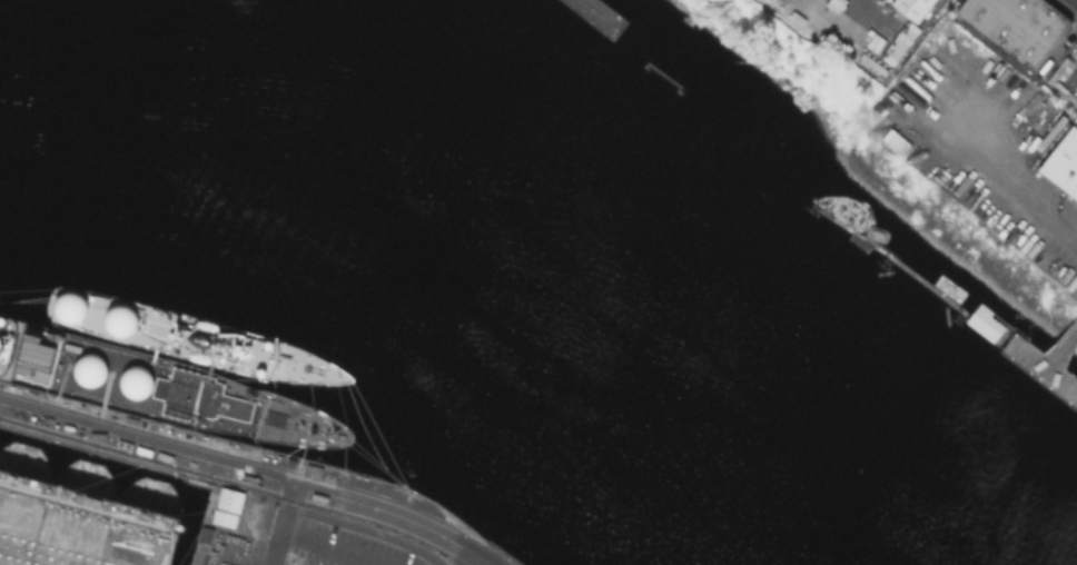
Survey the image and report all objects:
road: (1073, 2)
building: (911, 7)
pier: (600, 14)
parking lot: (853, 26)
building: (1016, 26)
building: (898, 41)
pier: (646, 66)
road: (664, 77)
pier: (679, 89)
building: (898, 106)
building: (1064, 162)
pier: (901, 265)
building: (984, 321)
pier: (1028, 349)
pier: (109, 430)
railway: (258, 459)
railway: (235, 482)
building: (229, 507)
road: (339, 521)
road: (327, 551)
building: (417, 562)

